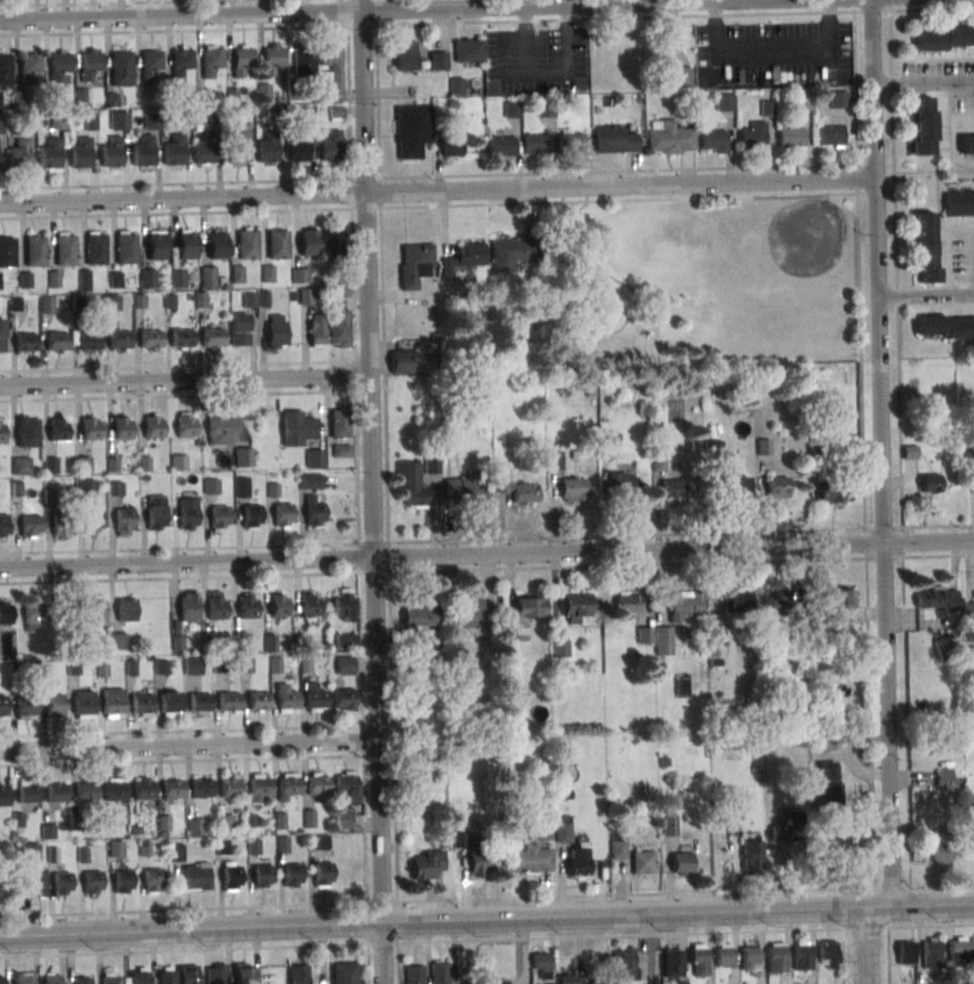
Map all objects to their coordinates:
road: (117, 3)
road: (367, 10)
road: (444, 23)
building: (945, 39)
building: (469, 50)
building: (405, 56)
building: (438, 60)
building: (271, 61)
building: (180, 62)
building: (211, 62)
building: (241, 62)
building: (303, 62)
building: (150, 64)
building: (89, 65)
building: (59, 67)
building: (31, 68)
building: (5, 69)
building: (121, 69)
building: (334, 70)
building: (681, 77)
building: (456, 85)
road: (923, 86)
building: (264, 91)
building: (0, 97)
building: (839, 99)
building: (802, 100)
building: (724, 102)
building: (767, 108)
building: (511, 109)
building: (336, 113)
building: (116, 120)
building: (58, 121)
building: (91, 122)
building: (922, 125)
building: (412, 129)
building: (752, 134)
building: (831, 135)
building: (668, 137)
building: (791, 138)
building: (614, 139)
building: (712, 141)
building: (536, 143)
building: (570, 143)
building: (967, 145)
building: (501, 146)
building: (330, 147)
building: (450, 147)
building: (297, 148)
building: (267, 149)
building: (205, 150)
building: (235, 150)
building: (173, 151)
building: (142, 152)
building: (111, 153)
building: (80, 154)
building: (18, 155)
building: (49, 155)
road: (857, 179)
road: (189, 183)
road: (437, 191)
building: (958, 203)
road: (205, 212)
building: (309, 241)
building: (187, 243)
building: (217, 243)
building: (278, 244)
building: (332, 244)
building: (156, 245)
building: (247, 245)
building: (923, 246)
building: (95, 250)
building: (125, 250)
building: (64, 251)
building: (35, 252)
building: (7, 253)
building: (512, 253)
building: (464, 258)
road: (972, 263)
building: (415, 264)
building: (268, 273)
building: (237, 274)
building: (300, 275)
building: (208, 276)
building: (147, 278)
building: (177, 278)
building: (54, 279)
building: (84, 280)
park: (700, 283)
road: (925, 296)
building: (305, 297)
building: (111, 301)
building: (46, 304)
building: (944, 325)
building: (239, 329)
building: (339, 329)
building: (276, 331)
building: (317, 331)
building: (2, 335)
building: (150, 338)
building: (179, 339)
building: (213, 339)
building: (26, 341)
building: (57, 341)
building: (119, 341)
building: (88, 342)
building: (400, 361)
road: (185, 380)
building: (590, 390)
building: (339, 422)
building: (152, 428)
building: (185, 428)
building: (121, 429)
building: (298, 429)
building: (89, 430)
building: (221, 430)
building: (27, 431)
building: (58, 431)
building: (1, 434)
building: (763, 447)
building: (605, 448)
building: (342, 450)
building: (713, 452)
building: (910, 452)
road: (881, 453)
building: (243, 457)
building: (315, 458)
building: (554, 459)
road: (371, 461)
building: (178, 462)
building: (659, 462)
building: (83, 464)
building: (21, 465)
building: (52, 465)
building: (431, 465)
building: (311, 480)
building: (411, 483)
building: (929, 483)
building: (622, 484)
building: (210, 486)
building: (85, 487)
building: (115, 487)
building: (241, 487)
building: (736, 487)
building: (777, 487)
building: (573, 489)
building: (672, 489)
building: (520, 491)
building: (830, 491)
building: (466, 492)
building: (314, 510)
building: (187, 514)
building: (250, 516)
building: (281, 516)
building: (218, 517)
building: (156, 519)
building: (92, 521)
building: (124, 521)
building: (3, 526)
building: (30, 526)
road: (937, 526)
building: (62, 529)
road: (486, 553)
road: (938, 556)
building: (839, 598)
building: (936, 598)
building: (782, 600)
building: (629, 601)
building: (738, 601)
building: (309, 605)
building: (342, 605)
building: (185, 606)
building: (277, 606)
building: (684, 607)
building: (215, 608)
building: (247, 608)
building: (577, 608)
building: (95, 609)
building: (126, 609)
building: (466, 612)
building: (968, 612)
building: (32, 613)
building: (4, 615)
building: (418, 615)
building: (524, 617)
building: (645, 635)
building: (345, 640)
building: (663, 640)
building: (117, 641)
building: (345, 665)
building: (192, 666)
building: (342, 699)
building: (315, 700)
building: (257, 701)
building: (286, 701)
building: (113, 702)
building: (227, 702)
building: (84, 703)
building: (200, 703)
building: (171, 704)
building: (142, 705)
building: (26, 707)
building: (2, 708)
building: (54, 708)
building: (825, 742)
road: (188, 745)
building: (947, 777)
building: (826, 783)
building: (317, 786)
building: (344, 786)
building: (259, 788)
building: (288, 788)
building: (230, 789)
building: (172, 790)
building: (201, 790)
building: (143, 791)
building: (114, 792)
building: (85, 793)
building: (4, 795)
building: (27, 795)
building: (56, 795)
building: (342, 819)
building: (224, 821)
building: (669, 825)
building: (195, 827)
building: (781, 831)
building: (563, 832)
building: (317, 842)
building: (115, 848)
building: (31, 850)
building: (617, 850)
building: (176, 852)
building: (941, 853)
building: (750, 855)
building: (527, 859)
building: (477, 861)
building: (576, 861)
building: (643, 862)
building: (680, 862)
building: (426, 863)
building: (321, 875)
building: (196, 876)
building: (291, 876)
building: (260, 877)
building: (230, 878)
building: (152, 881)
building: (36, 882)
building: (122, 882)
building: (92, 883)
building: (61, 884)
road: (941, 884)
road: (890, 886)
building: (4, 888)
road: (486, 919)
road: (865, 946)
building: (960, 947)
building: (906, 952)
building: (932, 952)
road: (381, 953)
building: (829, 954)
building: (802, 955)
building: (723, 956)
building: (750, 957)
building: (776, 957)
building: (698, 960)
building: (623, 962)
building: (541, 964)
building: (672, 966)
building: (439, 972)
building: (216, 973)
building: (244, 973)
building: (344, 973)
building: (187, 974)
building: (299, 974)
building: (414, 974)
building: (166, 975)
building: (110, 977)
building: (135, 977)
building: (23, 978)
building: (51, 978)
building: (567, 978)
building: (2, 980)
building: (82, 980)
building: (498, 982)

